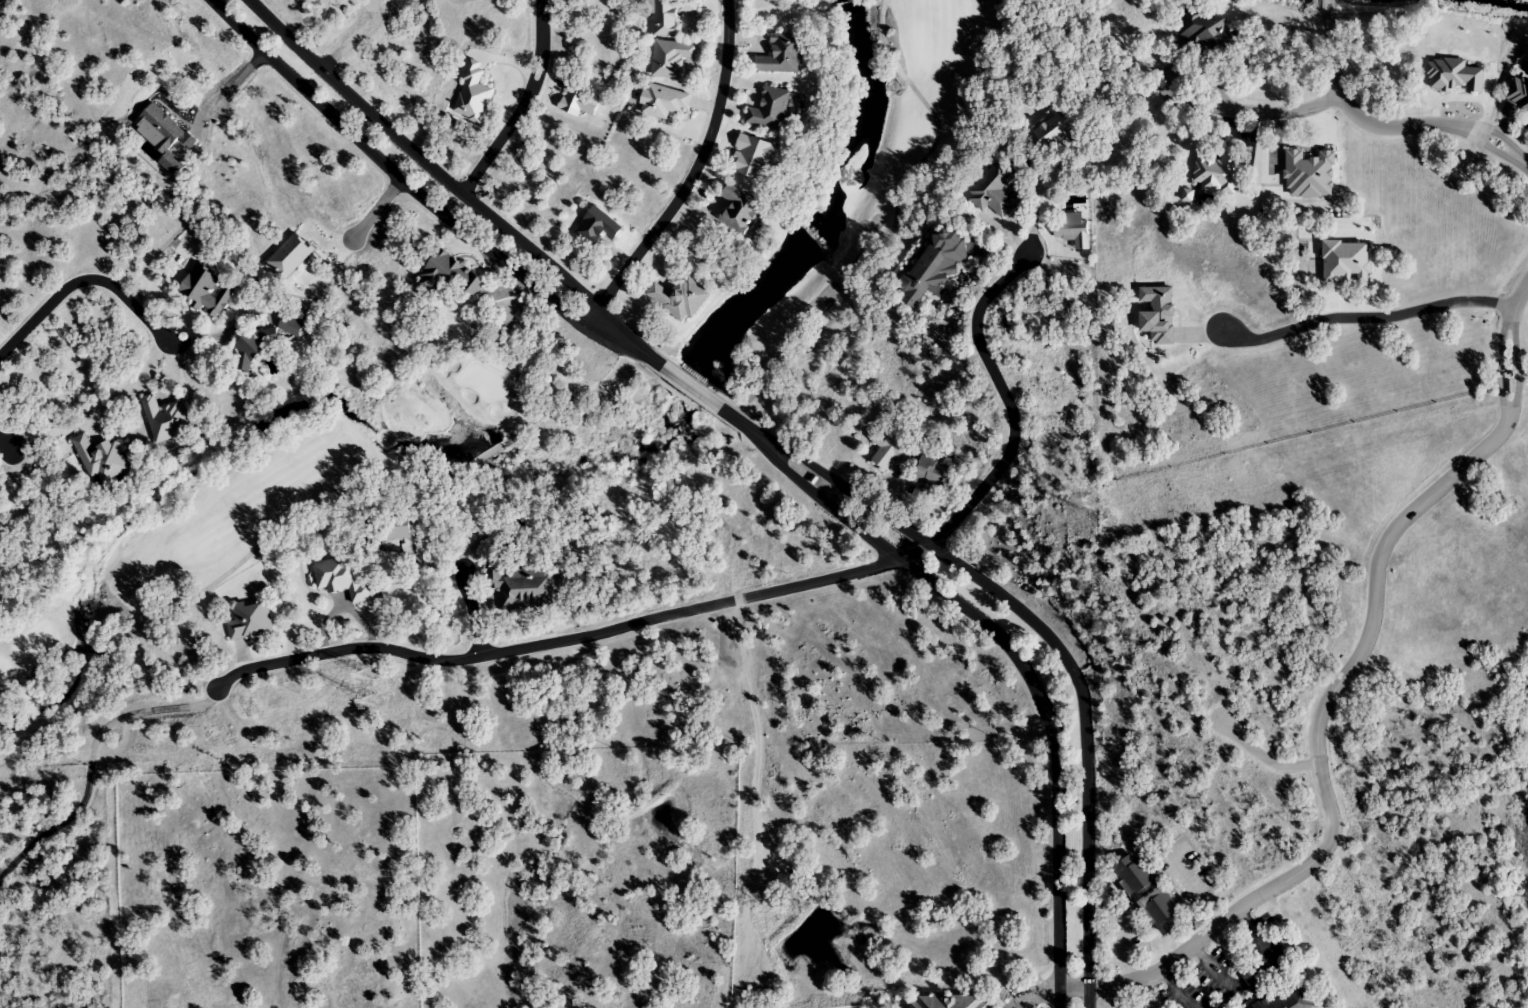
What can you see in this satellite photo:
building: (667, 15)
building: (1206, 31)
road: (343, 45)
building: (783, 54)
building: (670, 58)
road: (234, 82)
building: (1518, 94)
building: (572, 97)
building: (662, 101)
building: (769, 109)
road: (1250, 114)
road: (514, 116)
road: (1384, 126)
building: (1053, 129)
building: (751, 155)
road: (697, 167)
road: (448, 187)
building: (994, 189)
road: (423, 198)
building: (739, 209)
road: (375, 214)
building: (596, 226)
building: (1071, 230)
building: (933, 267)
building: (449, 275)
road: (83, 281)
building: (205, 290)
building: (679, 298)
road: (591, 319)
road: (1367, 319)
park: (458, 359)
road: (1507, 364)
road: (695, 388)
road: (691, 393)
building: (165, 420)
road: (7, 446)
building: (889, 451)
building: (101, 461)
building: (930, 474)
power tower: (1090, 498)
power tower: (1104, 524)
building: (391, 535)
building: (342, 579)
building: (525, 588)
road: (743, 598)
road: (470, 610)
building: (250, 622)
road: (1047, 632)
road: (1011, 649)
power tower: (367, 673)
power tower: (365, 705)
road: (1316, 756)
road: (1263, 758)
road: (90, 761)
building: (1148, 894)
road: (1258, 939)
road: (1212, 972)
road: (1250, 977)
road: (1074, 986)
road: (1173, 989)
road: (1037, 992)
building: (1275, 994)
road: (1223, 995)
road: (1015, 999)
building: (949, 1002)

